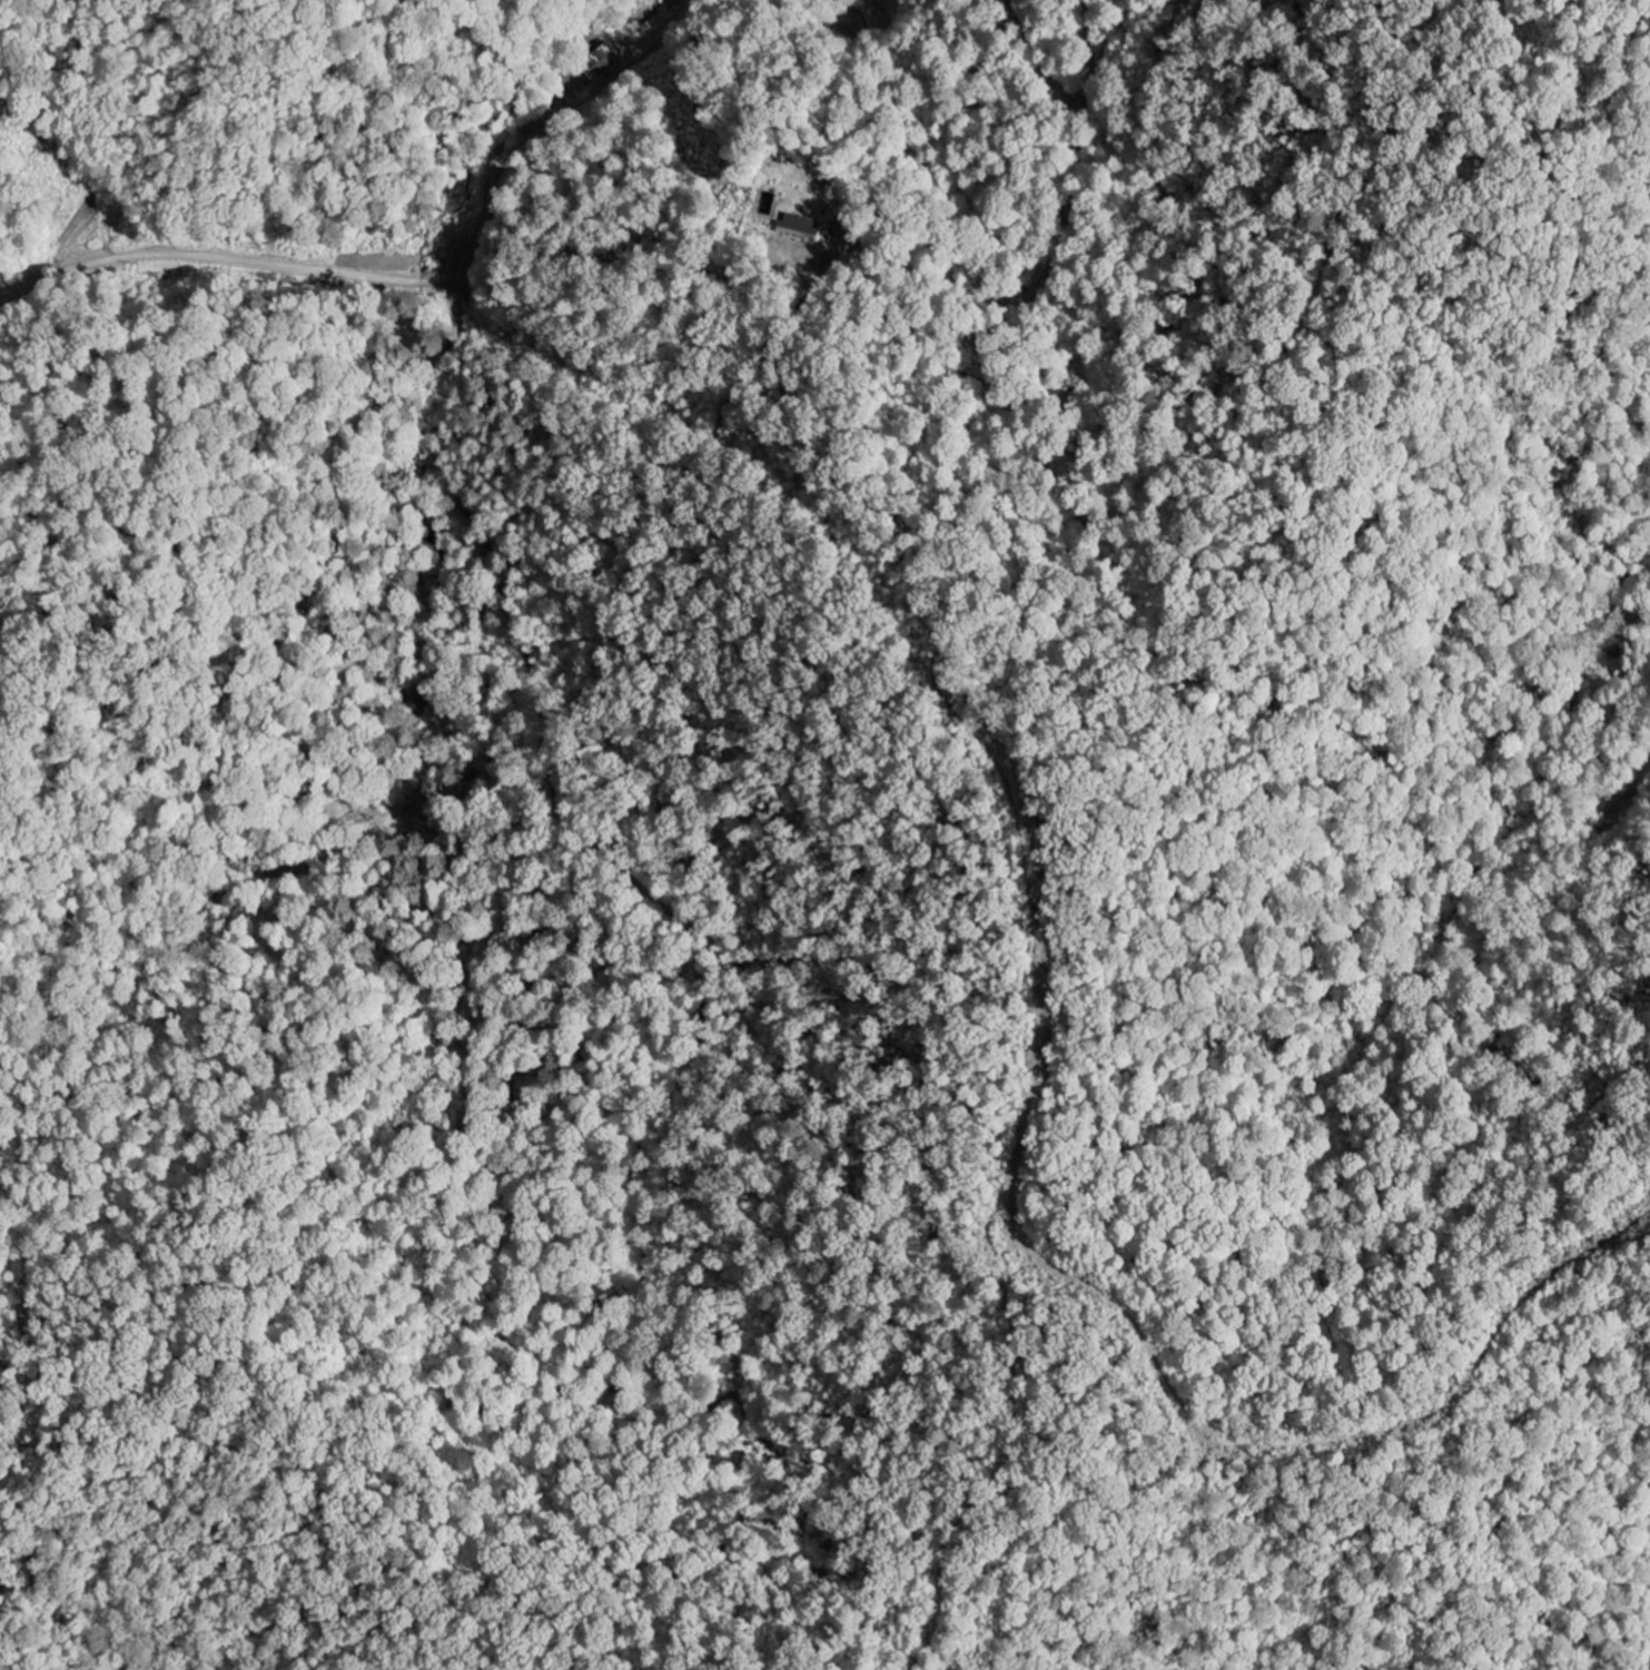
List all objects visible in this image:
building: (601, 61)
building: (798, 227)

